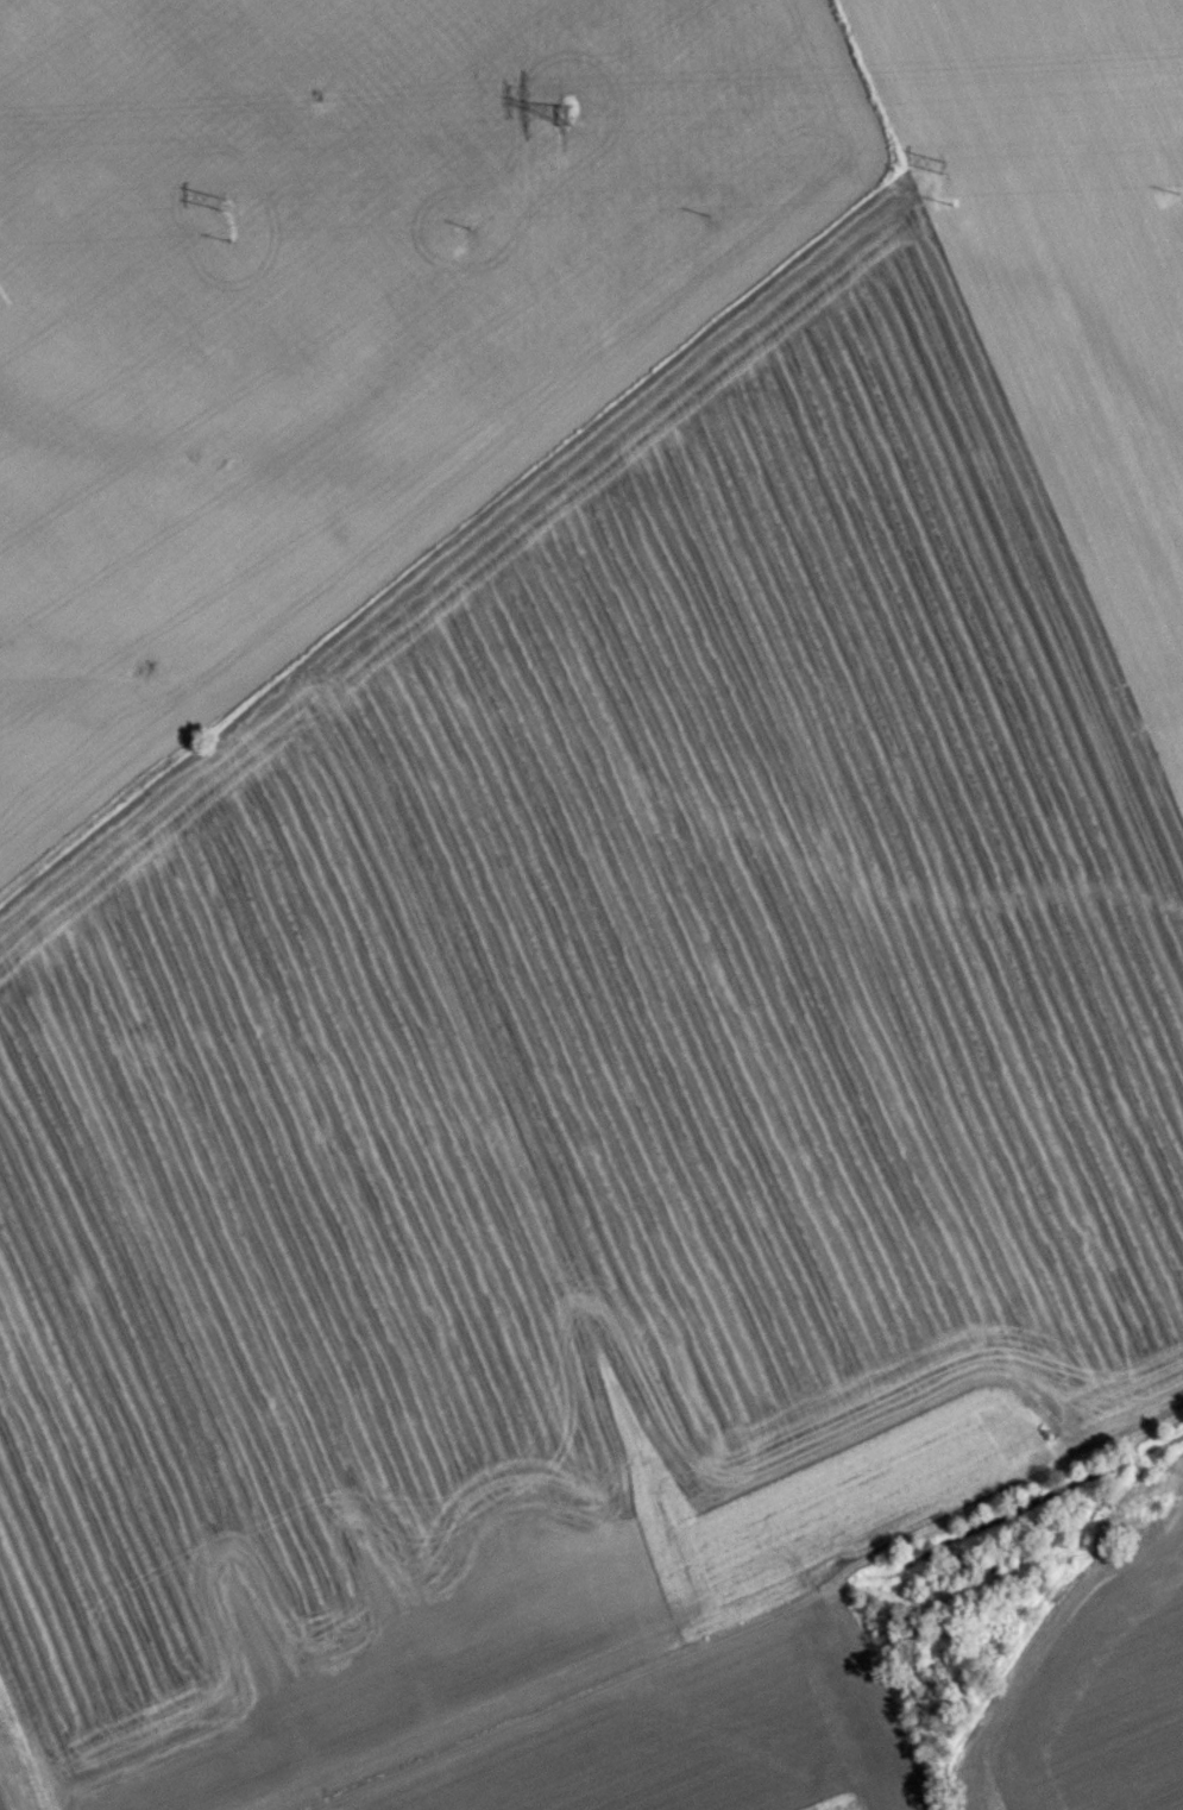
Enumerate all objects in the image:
power tower: (562, 115)
power tower: (945, 165)
power tower: (228, 202)

